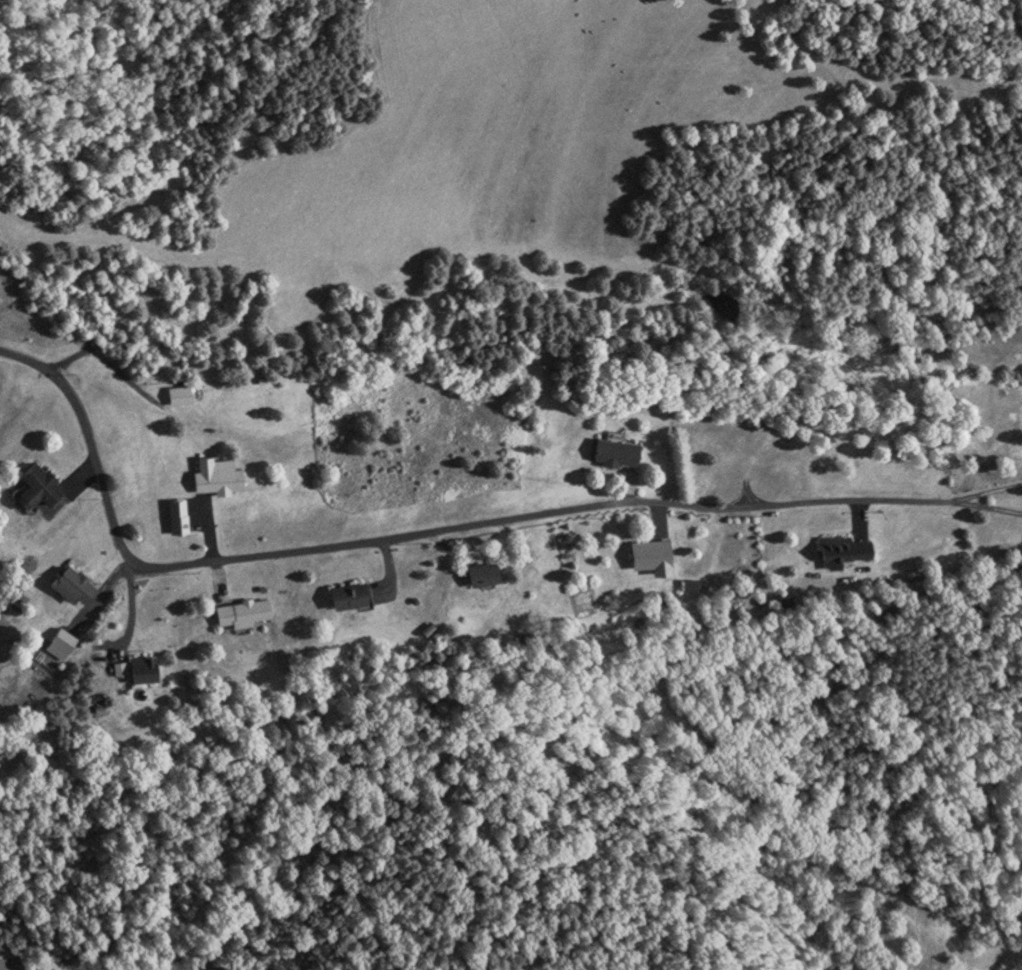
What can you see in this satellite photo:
building: (177, 395)
building: (613, 451)
building: (214, 477)
building: (35, 486)
road: (408, 534)
building: (840, 547)
building: (646, 553)
building: (480, 573)
building: (70, 585)
building: (345, 594)
building: (240, 612)
building: (58, 643)
building: (139, 668)
building: (12, 967)

